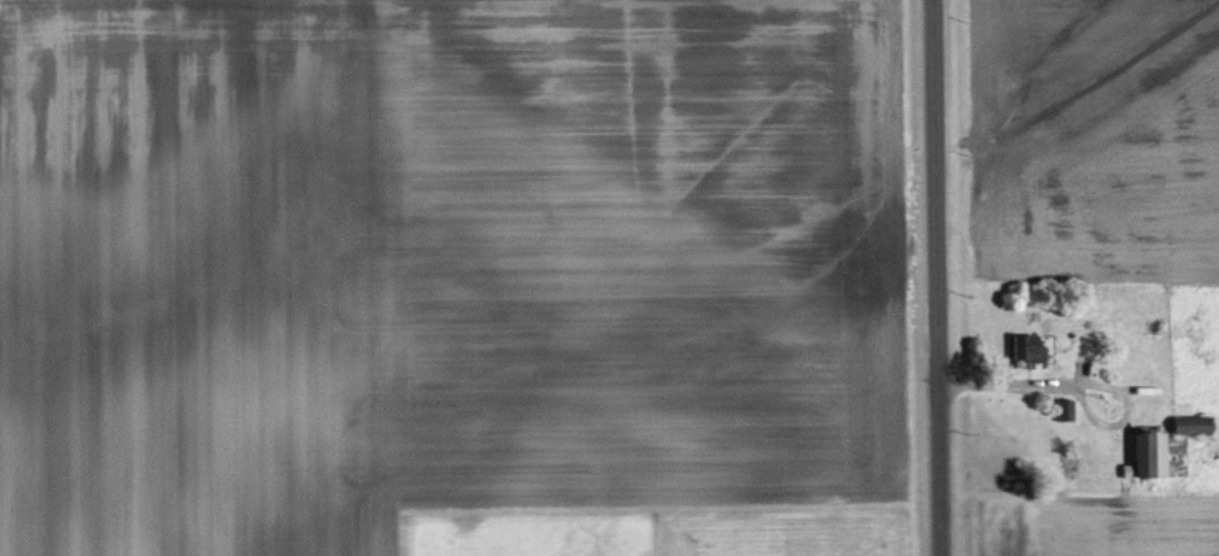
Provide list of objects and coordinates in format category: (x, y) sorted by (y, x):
road: (933, 277)
building: (1019, 347)
building: (1062, 409)
building: (1142, 455)

